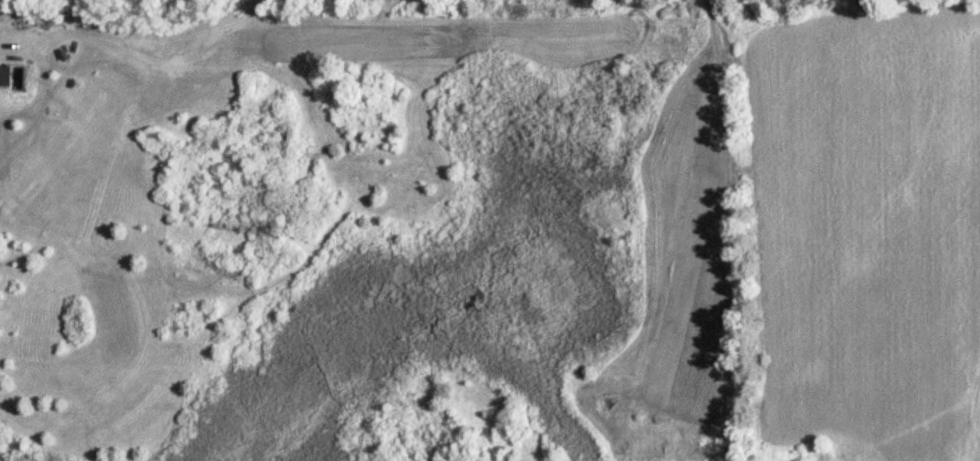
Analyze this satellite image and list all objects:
building: (7, 73)

